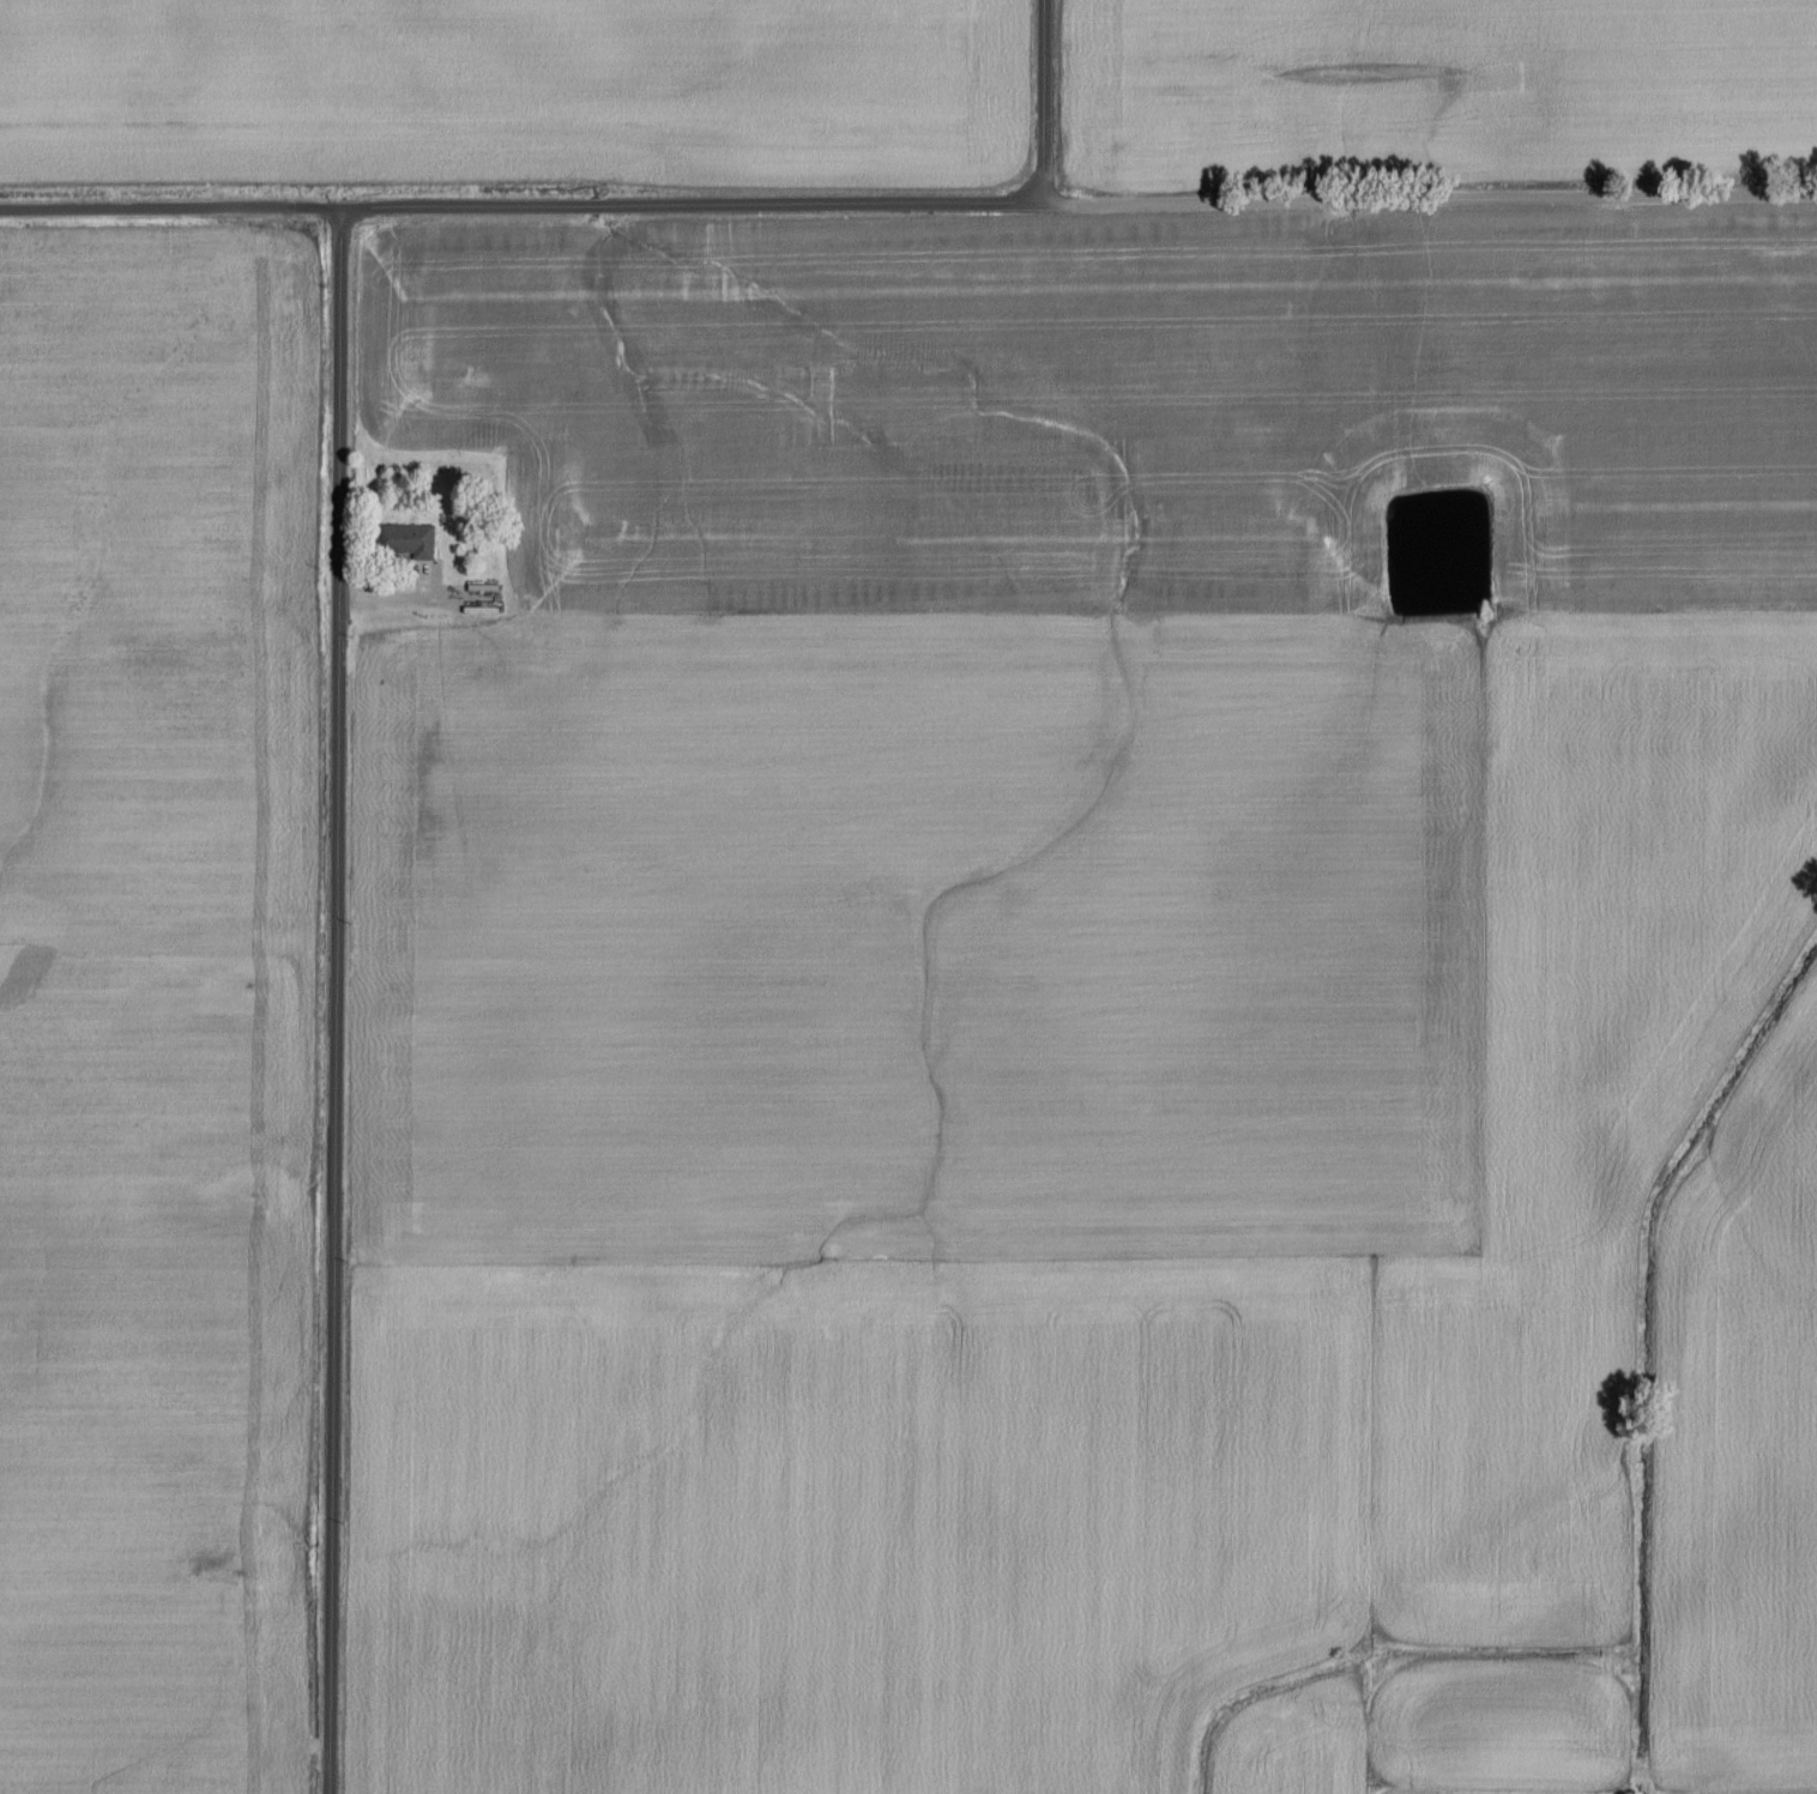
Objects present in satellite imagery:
road: (1042, 99)
road: (909, 203)
building: (418, 537)
road: (411, 594)
building: (488, 640)
road: (334, 1001)

